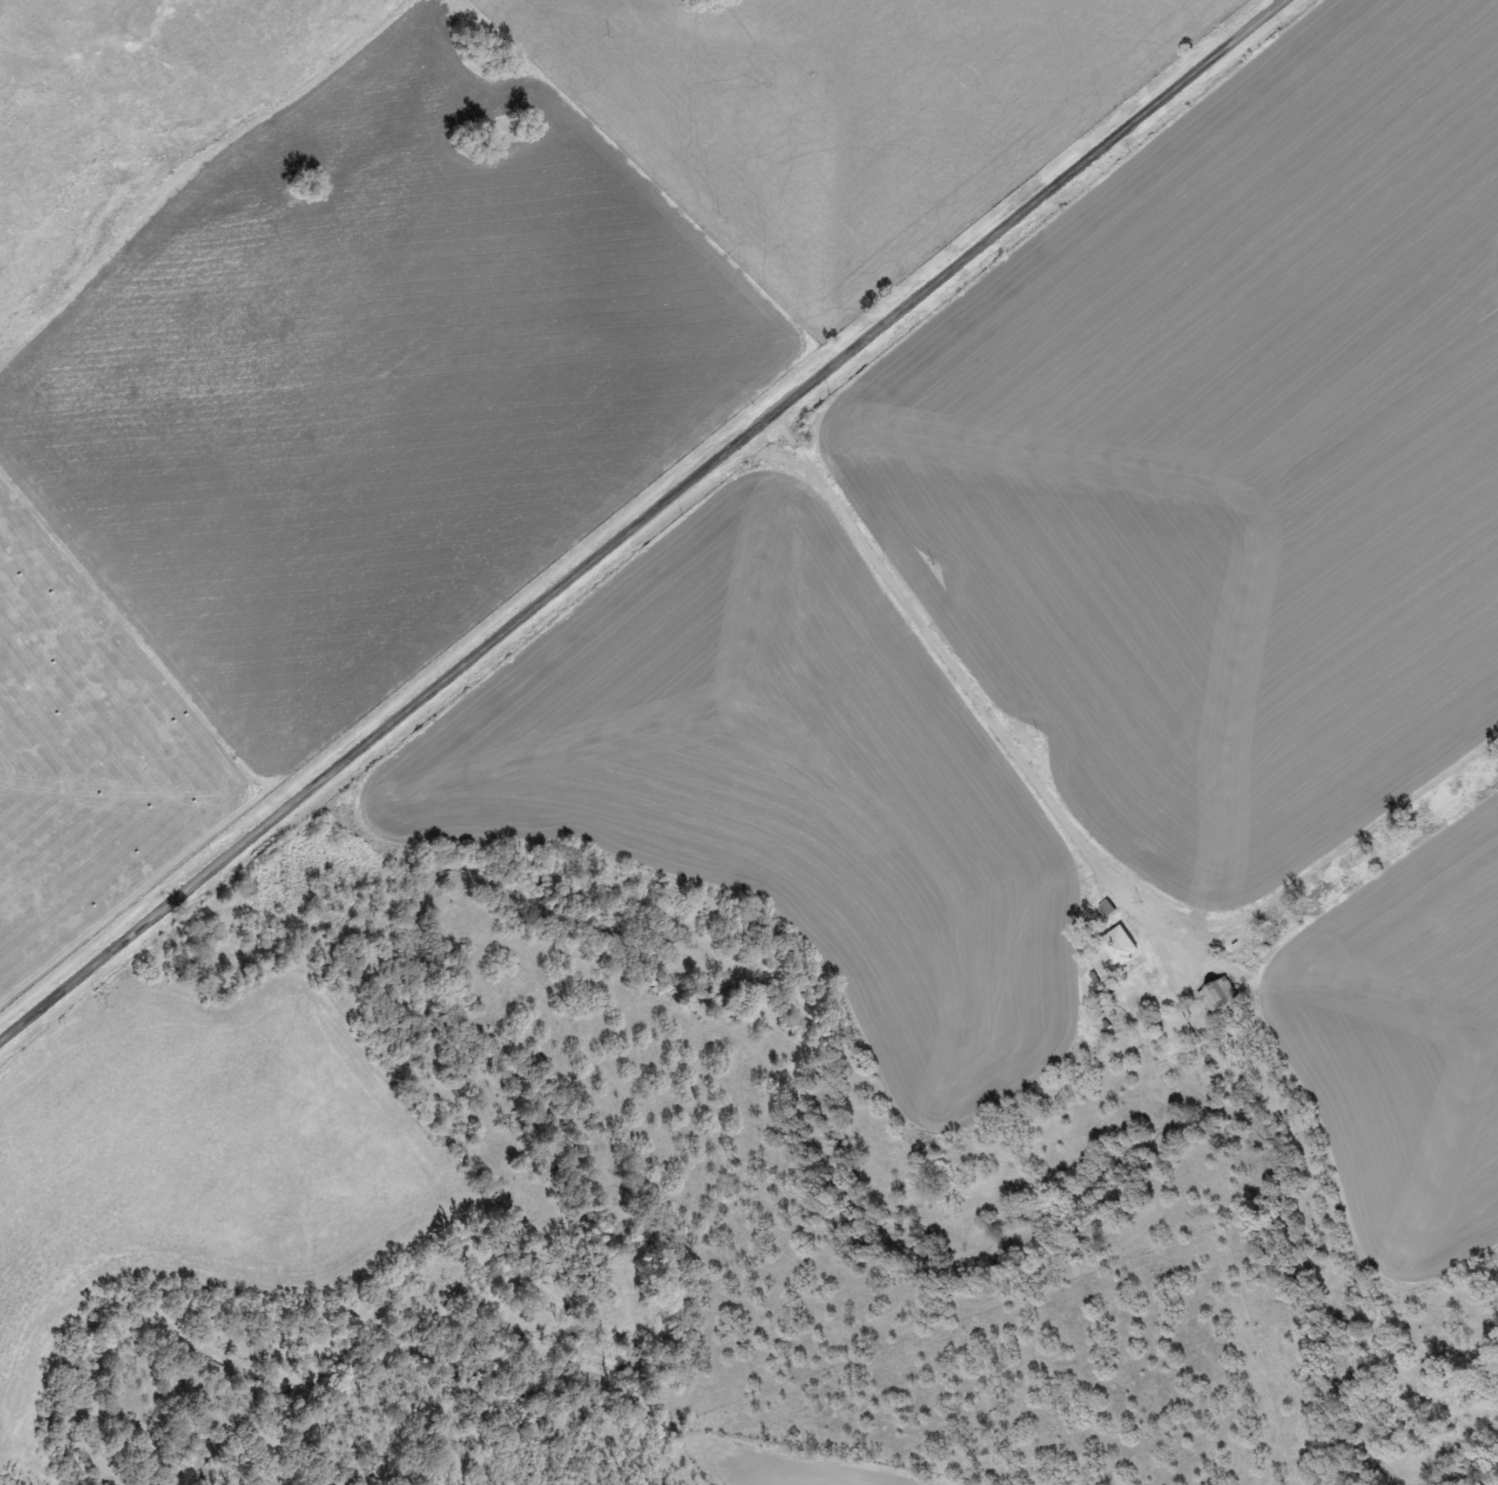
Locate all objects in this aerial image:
road: (640, 520)
road: (940, 652)
building: (1103, 909)
building: (1115, 947)
building: (1213, 996)

